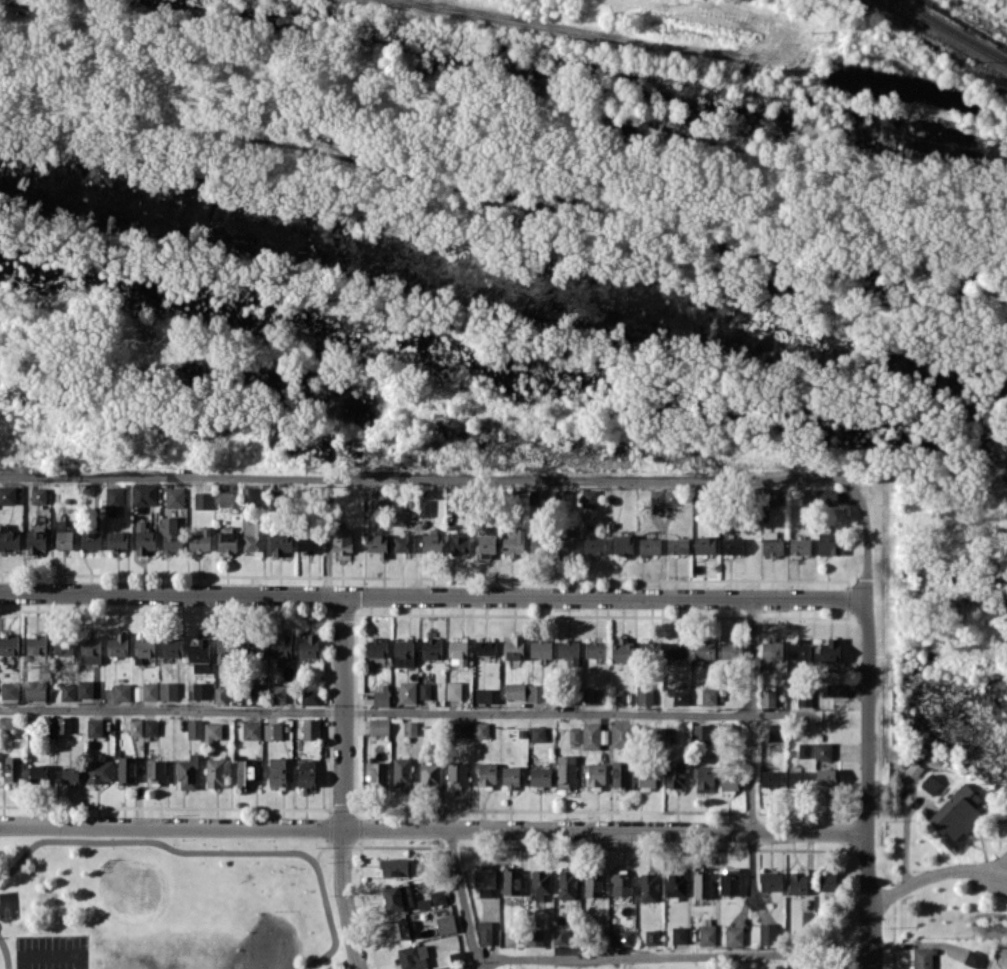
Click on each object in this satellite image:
railway: (954, 29)
road: (681, 62)
road: (423, 478)
building: (7, 494)
building: (144, 494)
building: (38, 495)
building: (526, 495)
building: (174, 496)
building: (826, 496)
building: (114, 497)
building: (562, 497)
building: (656, 497)
building: (671, 497)
building: (768, 497)
building: (807, 497)
building: (228, 498)
building: (589, 498)
building: (202, 500)
building: (376, 500)
building: (699, 504)
building: (424, 507)
building: (171, 535)
building: (252, 535)
building: (8, 539)
building: (144, 539)
building: (200, 539)
building: (36, 540)
building: (117, 540)
building: (64, 541)
building: (227, 541)
building: (307, 542)
building: (341, 542)
building: (431, 542)
building: (566, 542)
building: (280, 543)
building: (403, 543)
building: (514, 543)
building: (772, 543)
building: (829, 543)
building: (377, 544)
building: (459, 544)
building: (594, 544)
building: (622, 544)
building: (704, 544)
building: (486, 545)
building: (536, 545)
building: (677, 545)
building: (731, 545)
building: (649, 546)
building: (800, 546)
road: (434, 596)
building: (9, 644)
building: (36, 645)
building: (63, 645)
building: (117, 645)
building: (253, 645)
building: (280, 645)
building: (309, 646)
building: (484, 646)
building: (143, 647)
building: (171, 647)
building: (376, 647)
building: (540, 647)
building: (431, 648)
building: (513, 648)
building: (677, 648)
building: (90, 649)
building: (225, 649)
building: (594, 649)
building: (649, 649)
building: (703, 649)
building: (799, 649)
building: (622, 650)
building: (731, 650)
building: (771, 650)
building: (829, 650)
building: (568, 651)
building: (403, 652)
building: (457, 652)
building: (199, 655)
building: (85, 688)
building: (9, 689)
building: (201, 689)
building: (838, 689)
building: (35, 690)
building: (168, 690)
building: (424, 690)
building: (453, 690)
building: (67, 691)
building: (121, 691)
building: (145, 691)
building: (514, 691)
building: (257, 692)
building: (407, 692)
building: (536, 692)
building: (277, 693)
building: (219, 694)
building: (487, 695)
building: (644, 695)
building: (591, 696)
building: (680, 696)
building: (310, 697)
building: (380, 697)
building: (708, 697)
building: (767, 697)
building: (804, 700)
road: (392, 709)
road: (750, 714)
road: (866, 722)
building: (64, 724)
building: (6, 725)
building: (378, 726)
building: (94, 727)
building: (135, 727)
building: (151, 727)
building: (410, 727)
building: (194, 728)
building: (310, 728)
building: (51, 729)
building: (461, 729)
building: (480, 729)
building: (251, 730)
building: (272, 730)
building: (774, 731)
building: (212, 732)
building: (537, 733)
building: (701, 733)
building: (620, 734)
building: (668, 734)
building: (573, 735)
building: (593, 735)
building: (803, 750)
building: (823, 750)
building: (13, 768)
building: (914, 768)
building: (126, 769)
building: (155, 770)
building: (98, 771)
building: (217, 771)
building: (276, 771)
building: (401, 771)
building: (566, 771)
building: (187, 772)
building: (245, 772)
building: (375, 772)
building: (457, 772)
building: (38, 773)
building: (429, 773)
building: (71, 774)
building: (306, 774)
building: (486, 774)
building: (594, 774)
building: (621, 774)
building: (675, 775)
building: (511, 776)
building: (539, 776)
building: (647, 776)
building: (704, 777)
building: (798, 777)
building: (771, 778)
building: (826, 778)
building: (728, 782)
road: (342, 783)
building: (930, 783)
building: (957, 815)
road: (433, 829)
road: (751, 865)
building: (393, 866)
road: (935, 873)
building: (484, 879)
building: (511, 880)
building: (729, 881)
building: (771, 881)
building: (827, 881)
building: (798, 882)
building: (540, 883)
building: (593, 883)
building: (566, 884)
building: (621, 884)
building: (701, 884)
building: (676, 885)
building: (648, 886)
building: (397, 897)
building: (437, 897)
road: (463, 899)
park: (168, 902)
building: (424, 902)
building: (446, 924)
building: (399, 929)
building: (706, 931)
building: (484, 932)
building: (768, 933)
building: (679, 934)
building: (733, 935)
building: (560, 936)
building: (535, 937)
building: (626, 937)
building: (652, 937)
building: (456, 956)
road: (672, 956)
building: (412, 957)
building: (921, 957)
building: (973, 958)
road: (715, 961)
building: (461, 966)

